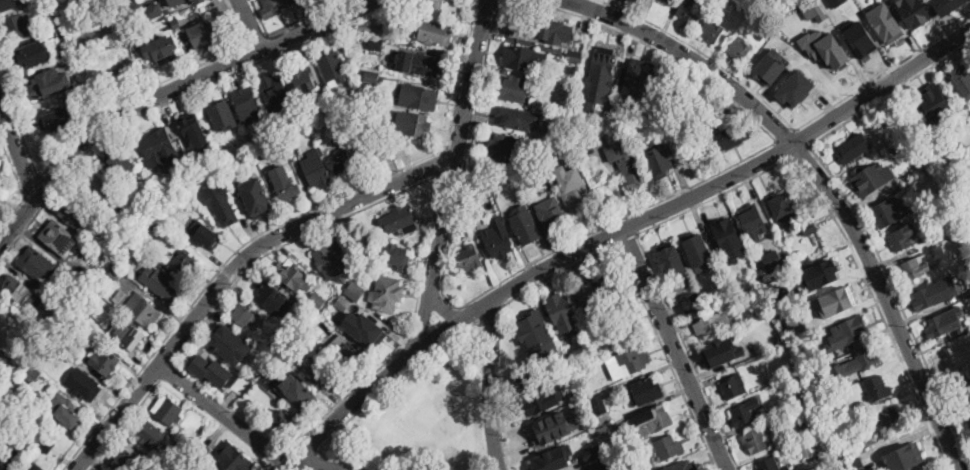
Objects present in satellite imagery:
building: (121, 0)
building: (296, 0)
building: (196, 1)
building: (293, 1)
building: (669, 1)
building: (176, 2)
building: (11, 4)
building: (948, 5)
building: (410, 6)
building: (274, 8)
building: (443, 8)
building: (813, 9)
building: (153, 10)
building: (915, 11)
building: (691, 12)
road: (260, 17)
road: (307, 17)
building: (885, 21)
building: (178, 23)
road: (249, 24)
building: (19, 26)
building: (536, 26)
building: (168, 27)
building: (66, 29)
building: (375, 29)
building: (713, 31)
building: (433, 32)
building: (205, 34)
road: (257, 38)
building: (122, 42)
road: (272, 44)
building: (376, 45)
building: (163, 46)
building: (824, 47)
building: (739, 50)
road: (251, 53)
building: (31, 56)
building: (575, 57)
building: (522, 58)
building: (391, 63)
building: (420, 63)
building: (771, 65)
building: (603, 66)
building: (332, 67)
building: (360, 69)
building: (372, 75)
building: (636, 76)
building: (303, 78)
road: (192, 80)
building: (962, 81)
building: (46, 82)
road: (155, 86)
road: (880, 86)
building: (796, 88)
building: (515, 89)
building: (276, 93)
road: (172, 97)
building: (418, 97)
building: (313, 103)
building: (938, 103)
building: (246, 105)
building: (610, 107)
building: (644, 112)
building: (222, 116)
building: (514, 118)
building: (56, 119)
road: (785, 120)
building: (415, 123)
building: (315, 126)
road: (19, 128)
building: (194, 128)
building: (265, 133)
building: (961, 134)
road: (785, 135)
building: (732, 136)
road: (801, 138)
building: (892, 138)
building: (291, 143)
building: (566, 143)
road: (459, 145)
building: (501, 145)
building: (159, 146)
building: (854, 147)
building: (371, 148)
road: (784, 148)
road: (18, 151)
road: (799, 151)
building: (261, 155)
building: (215, 156)
building: (658, 160)
building: (249, 161)
building: (342, 161)
road: (446, 161)
building: (118, 163)
building: (521, 165)
road: (12, 168)
building: (316, 168)
building: (631, 169)
road: (440, 173)
road: (758, 175)
building: (871, 177)
building: (494, 178)
building: (480, 181)
road: (822, 181)
building: (284, 182)
building: (100, 190)
road: (35, 191)
building: (575, 192)
building: (257, 196)
building: (1, 197)
building: (147, 202)
building: (784, 207)
building: (224, 208)
road: (857, 210)
building: (77, 214)
building: (552, 214)
building: (885, 216)
road: (12, 217)
building: (752, 218)
building: (399, 219)
road: (19, 222)
road: (279, 222)
building: (151, 225)
building: (525, 227)
road: (600, 228)
building: (809, 228)
building: (205, 235)
building: (725, 236)
building: (59, 238)
road: (628, 238)
building: (497, 239)
building: (900, 240)
building: (697, 248)
building: (393, 256)
building: (329, 258)
building: (470, 259)
building: (671, 259)
building: (773, 259)
building: (184, 263)
building: (38, 264)
building: (749, 265)
building: (915, 269)
road: (233, 270)
building: (829, 271)
building: (114, 273)
building: (294, 275)
building: (698, 275)
building: (88, 276)
road: (525, 280)
building: (163, 283)
building: (614, 283)
building: (727, 289)
building: (20, 290)
building: (355, 291)
building: (935, 291)
building: (387, 293)
building: (267, 294)
building: (800, 294)
building: (120, 296)
road: (642, 296)
building: (588, 299)
building: (317, 300)
building: (735, 300)
building: (836, 300)
building: (711, 301)
building: (692, 302)
building: (343, 303)
road: (444, 308)
building: (757, 308)
building: (83, 309)
building: (562, 310)
building: (145, 311)
building: (307, 312)
road: (493, 314)
building: (244, 315)
building: (775, 318)
road: (427, 320)
building: (946, 321)
building: (532, 324)
building: (799, 324)
building: (714, 325)
building: (632, 329)
building: (368, 331)
building: (848, 331)
building: (616, 335)
building: (128, 336)
building: (229, 343)
building: (55, 348)
road: (673, 350)
building: (721, 353)
building: (789, 353)
building: (349, 355)
building: (948, 355)
building: (524, 356)
building: (570, 360)
building: (859, 360)
building: (105, 361)
building: (628, 362)
building: (202, 364)
building: (316, 364)
building: (1, 368)
road: (134, 369)
road: (123, 373)
road: (167, 373)
building: (33, 374)
building: (527, 375)
building: (84, 384)
road: (393, 384)
road: (491, 386)
building: (734, 386)
building: (961, 386)
building: (878, 388)
building: (645, 391)
building: (298, 392)
building: (802, 394)
building: (543, 397)
building: (599, 404)
building: (168, 410)
building: (745, 412)
building: (69, 415)
road: (223, 415)
park: (425, 416)
building: (874, 416)
building: (43, 417)
building: (969, 417)
building: (890, 418)
building: (284, 419)
building: (654, 421)
building: (595, 423)
road: (125, 425)
building: (553, 427)
building: (801, 430)
building: (969, 430)
building: (605, 431)
building: (150, 433)
building: (755, 440)
building: (47, 445)
building: (669, 447)
building: (805, 449)
building: (182, 450)
building: (591, 452)
building: (702, 453)
building: (11, 456)
building: (904, 456)
road: (281, 457)
building: (128, 458)
building: (233, 458)
building: (551, 458)
building: (870, 458)
building: (615, 460)
road: (305, 463)
building: (769, 464)
building: (857, 464)
building: (31, 465)
road: (314, 465)
building: (599, 465)
building: (684, 466)
road: (287, 467)
building: (166, 468)
road: (272, 468)
building: (786, 468)
building: (217, 469)
building: (927, 469)

